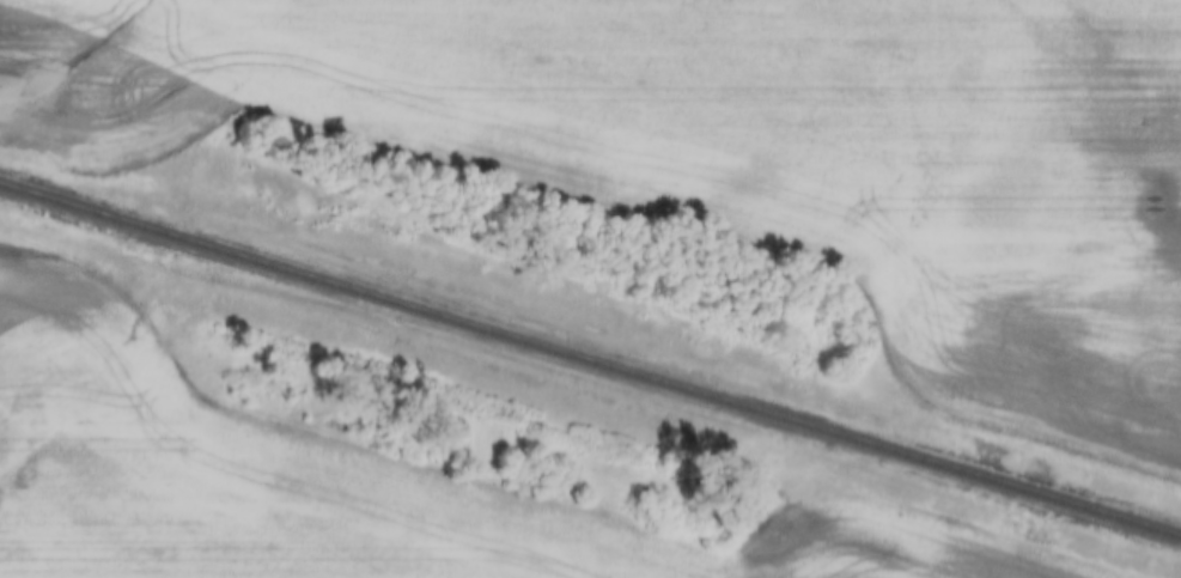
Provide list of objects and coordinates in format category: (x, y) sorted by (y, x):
railway: (590, 363)

